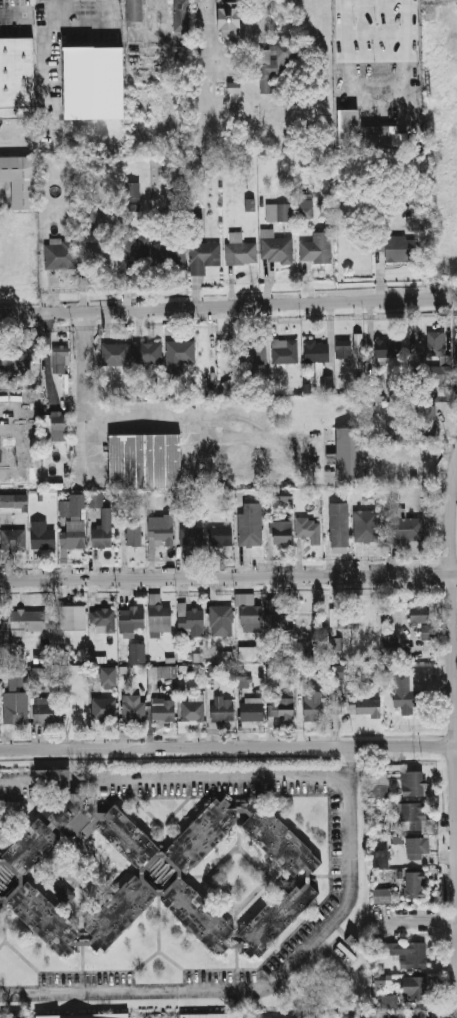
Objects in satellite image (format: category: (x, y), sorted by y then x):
building: (146, 2)
road: (54, 9)
road: (106, 10)
building: (136, 12)
building: (184, 15)
building: (232, 20)
parking lot: (202, 22)
road: (46, 32)
road: (214, 35)
building: (259, 57)
parking lot: (239, 58)
building: (279, 66)
parking lot: (211, 77)
building: (17, 78)
building: (95, 84)
building: (237, 87)
road: (377, 93)
road: (213, 121)
building: (349, 125)
building: (381, 136)
building: (21, 176)
building: (132, 192)
building: (195, 193)
building: (307, 211)
building: (278, 213)
building: (412, 223)
building: (314, 247)
building: (400, 248)
building: (276, 249)
building: (134, 252)
building: (238, 252)
building: (102, 253)
building: (171, 254)
building: (61, 255)
building: (200, 256)
road: (228, 307)
building: (357, 345)
building: (388, 348)
building: (343, 349)
building: (253, 352)
building: (316, 352)
building: (148, 353)
building: (115, 354)
building: (180, 354)
building: (287, 354)
building: (62, 357)
building: (12, 358)
building: (438, 358)
building: (358, 382)
building: (9, 383)
building: (328, 384)
building: (306, 387)
building: (228, 389)
building: (376, 393)
road: (86, 403)
building: (59, 423)
building: (416, 427)
building: (349, 456)
building: (145, 459)
building: (285, 495)
building: (95, 499)
building: (13, 501)
building: (339, 524)
building: (250, 525)
building: (366, 526)
building: (105, 529)
building: (309, 529)
building: (134, 530)
building: (162, 530)
building: (406, 530)
building: (281, 533)
building: (76, 534)
building: (44, 535)
building: (192, 537)
building: (222, 537)
building: (13, 539)
road: (228, 577)
building: (279, 613)
building: (417, 613)
building: (160, 614)
building: (253, 617)
building: (348, 617)
road: (453, 617)
building: (73, 618)
building: (189, 618)
building: (103, 619)
building: (133, 619)
building: (29, 620)
building: (222, 621)
building: (428, 631)
building: (8, 635)
building: (335, 643)
building: (249, 651)
building: (138, 653)
building: (226, 654)
building: (66, 656)
building: (200, 656)
building: (213, 670)
building: (337, 671)
building: (41, 672)
building: (110, 675)
building: (157, 675)
building: (245, 679)
building: (406, 692)
building: (16, 697)
building: (365, 707)
building: (133, 708)
building: (284, 708)
building: (104, 709)
building: (222, 709)
building: (312, 709)
building: (47, 710)
building: (162, 710)
building: (192, 711)
building: (251, 711)
road: (228, 746)
road: (13, 766)
building: (53, 778)
road: (208, 779)
road: (19, 780)
road: (54, 780)
building: (379, 784)
building: (412, 784)
building: (70, 808)
building: (412, 818)
building: (127, 836)
building: (202, 836)
building: (279, 840)
building: (31, 847)
building: (417, 848)
building: (380, 859)
building: (0, 860)
building: (415, 885)
building: (383, 893)
building: (64, 895)
building: (1, 907)
building: (120, 913)
building: (199, 916)
building: (44, 918)
building: (277, 918)
road: (420, 922)
building: (348, 944)
building: (407, 953)
road: (268, 982)
building: (414, 987)
building: (387, 1001)
building: (87, 1014)
building: (409, 1014)
building: (214, 1015)

